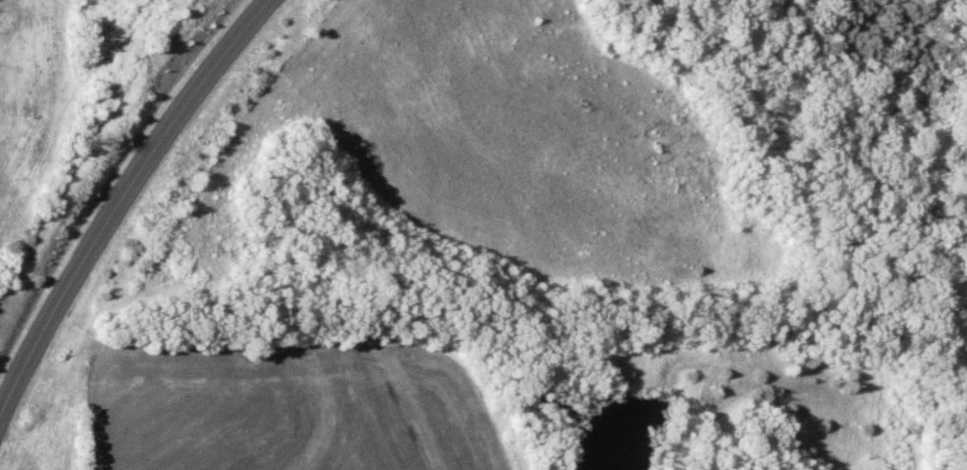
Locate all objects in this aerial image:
road: (121, 201)

